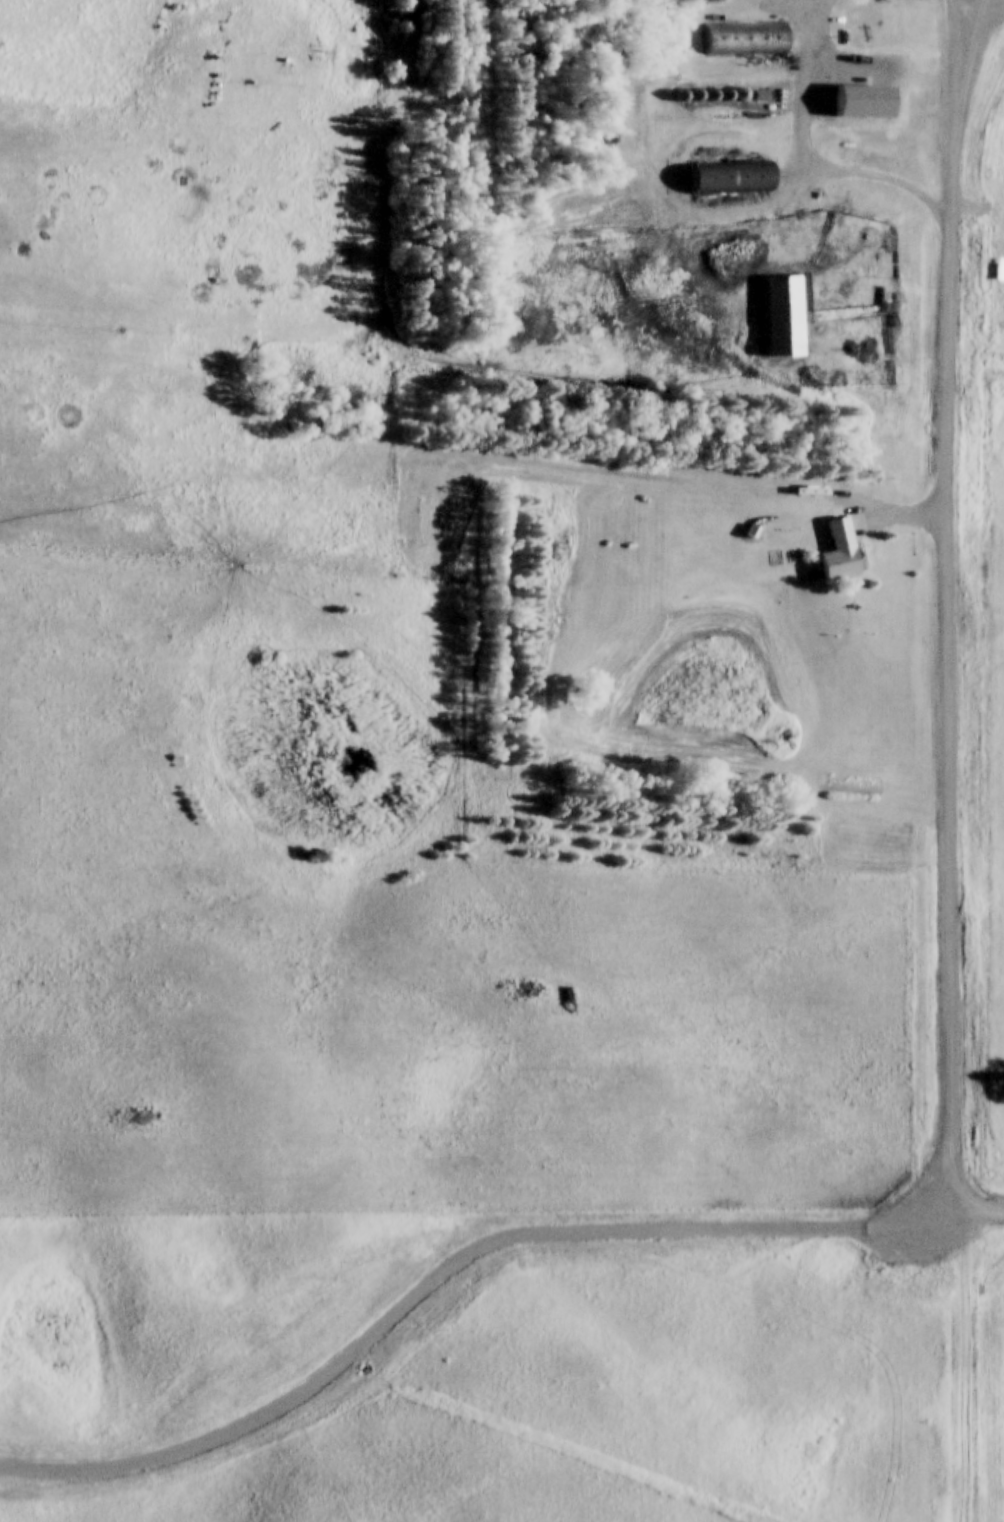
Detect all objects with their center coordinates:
road: (958, 5)
road: (954, 37)
building: (743, 43)
road: (811, 86)
building: (858, 106)
building: (723, 180)
road: (764, 209)
building: (777, 316)
building: (844, 552)
road: (949, 643)
road: (985, 1204)
road: (449, 1262)
road: (961, 1356)

